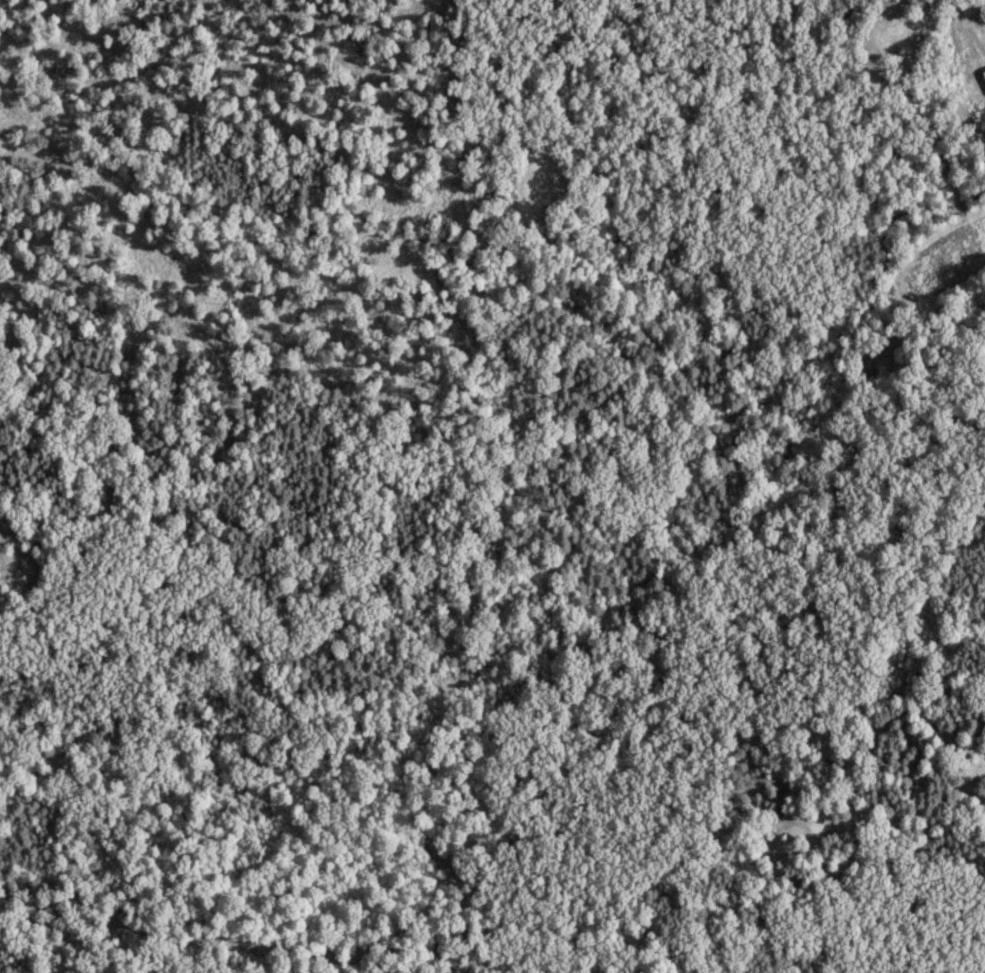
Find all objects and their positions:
building: (887, 5)
building: (852, 15)

